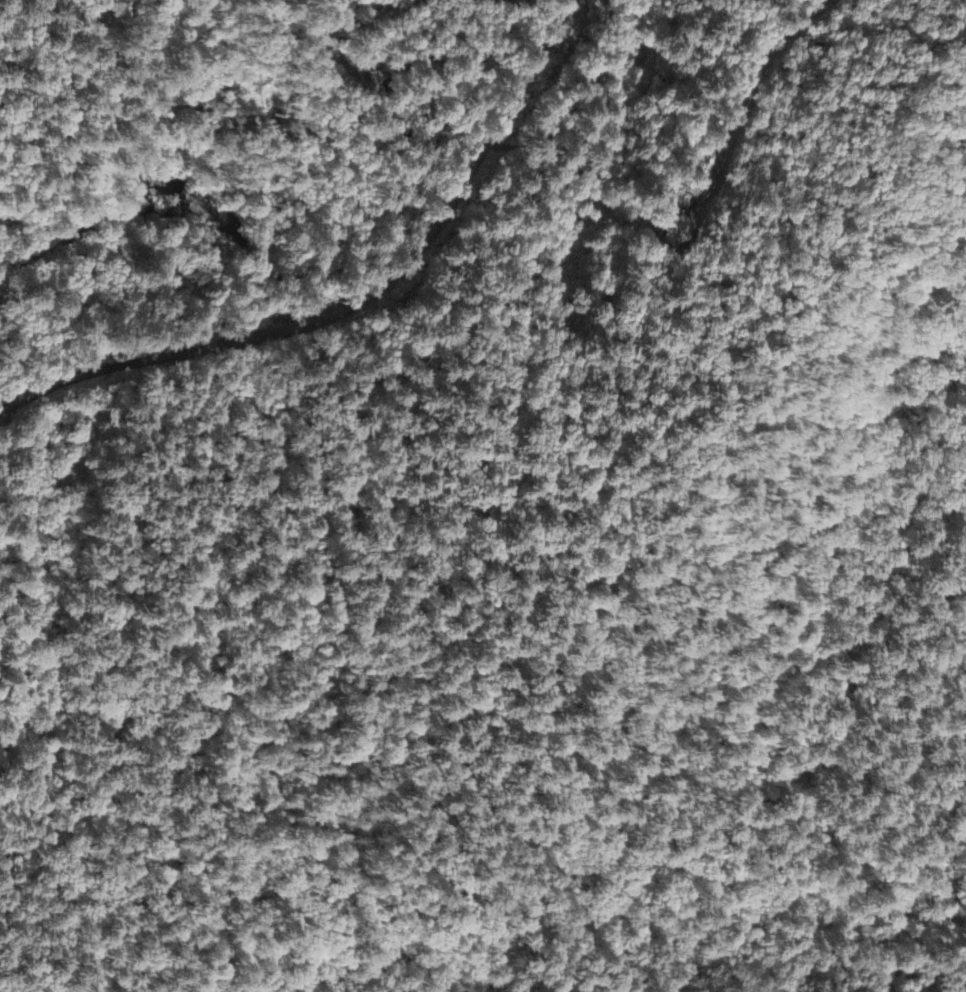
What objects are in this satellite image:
building: (672, 229)
road: (356, 300)

